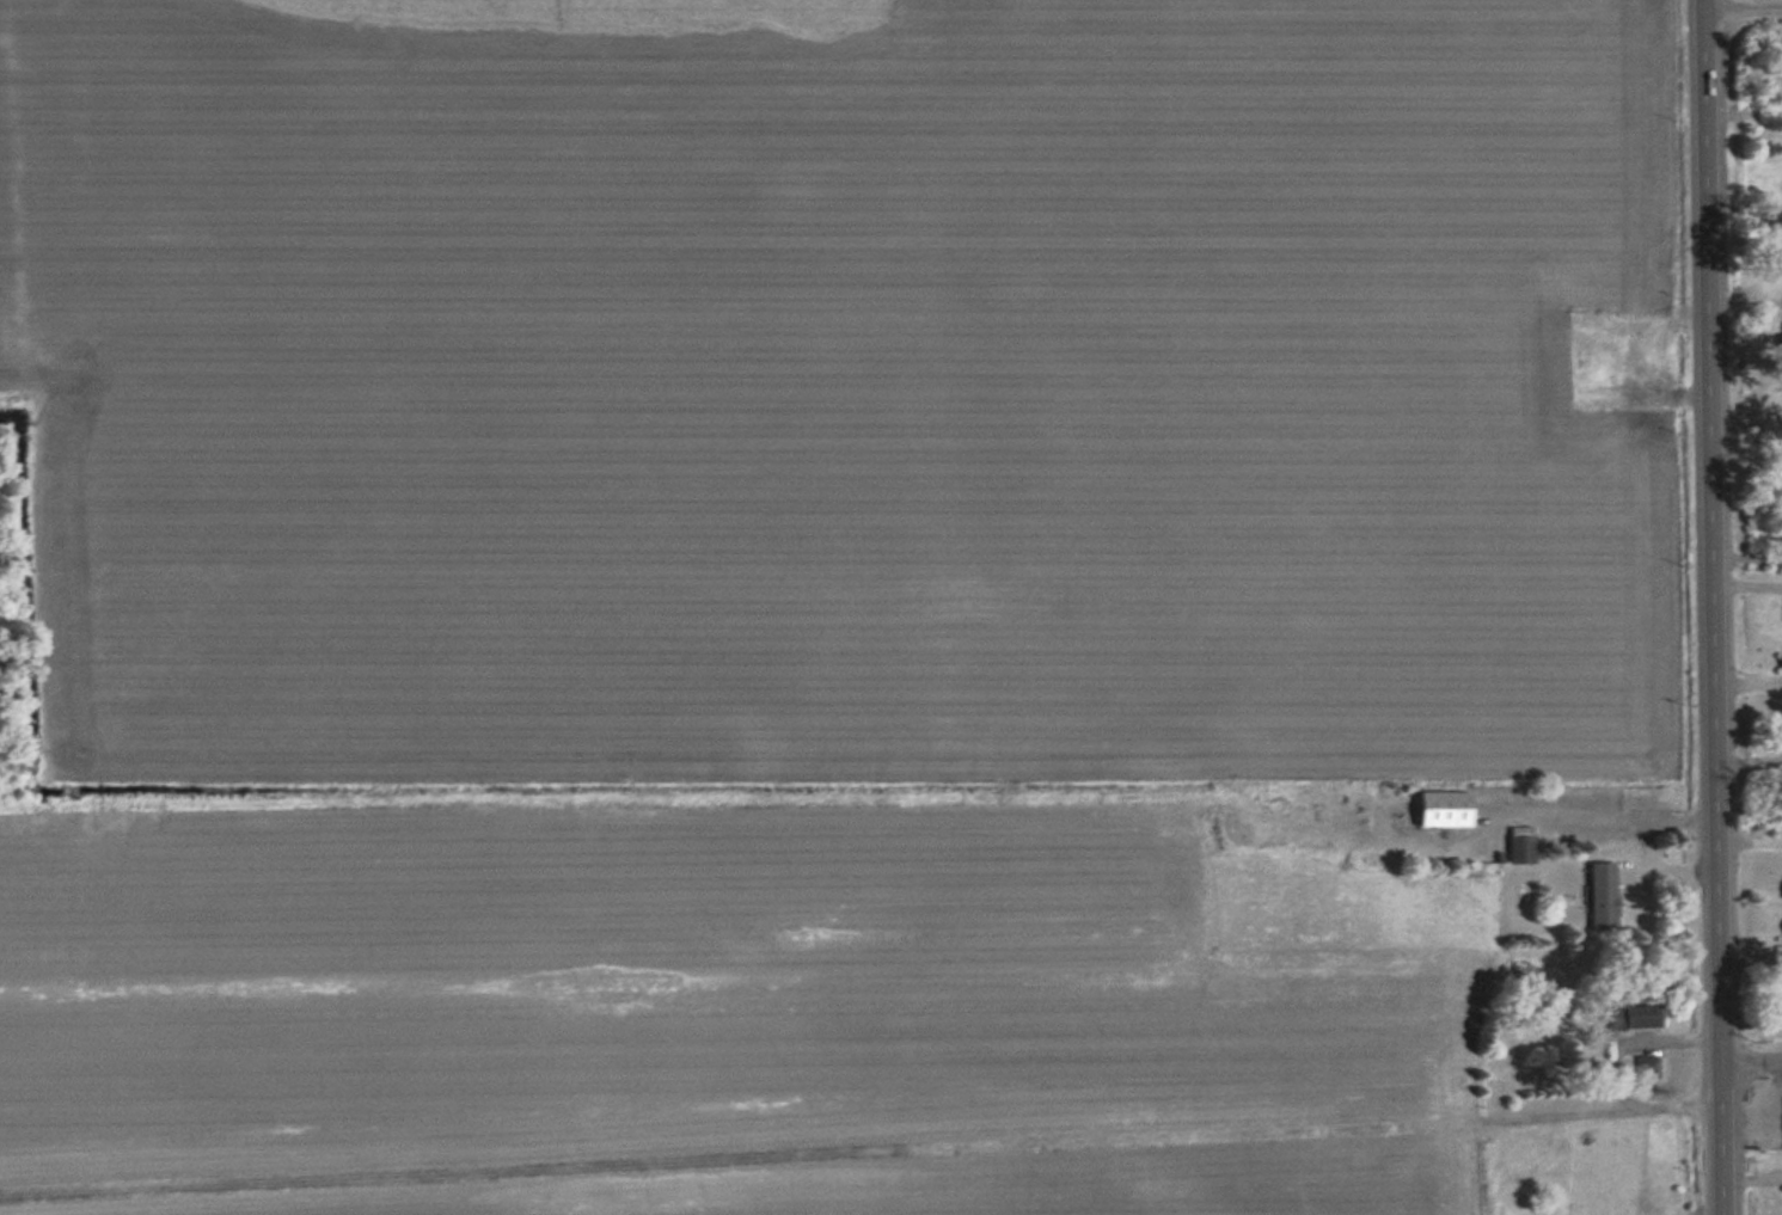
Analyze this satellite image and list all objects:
road: (1743, 8)
road: (1745, 305)
building: (1778, 338)
road: (1746, 421)
road: (1713, 532)
building: (1778, 657)
building: (1434, 810)
building: (1518, 846)
building: (1597, 895)
building: (1628, 1018)
road: (1752, 1063)
building: (1643, 1067)
road: (1723, 1140)

